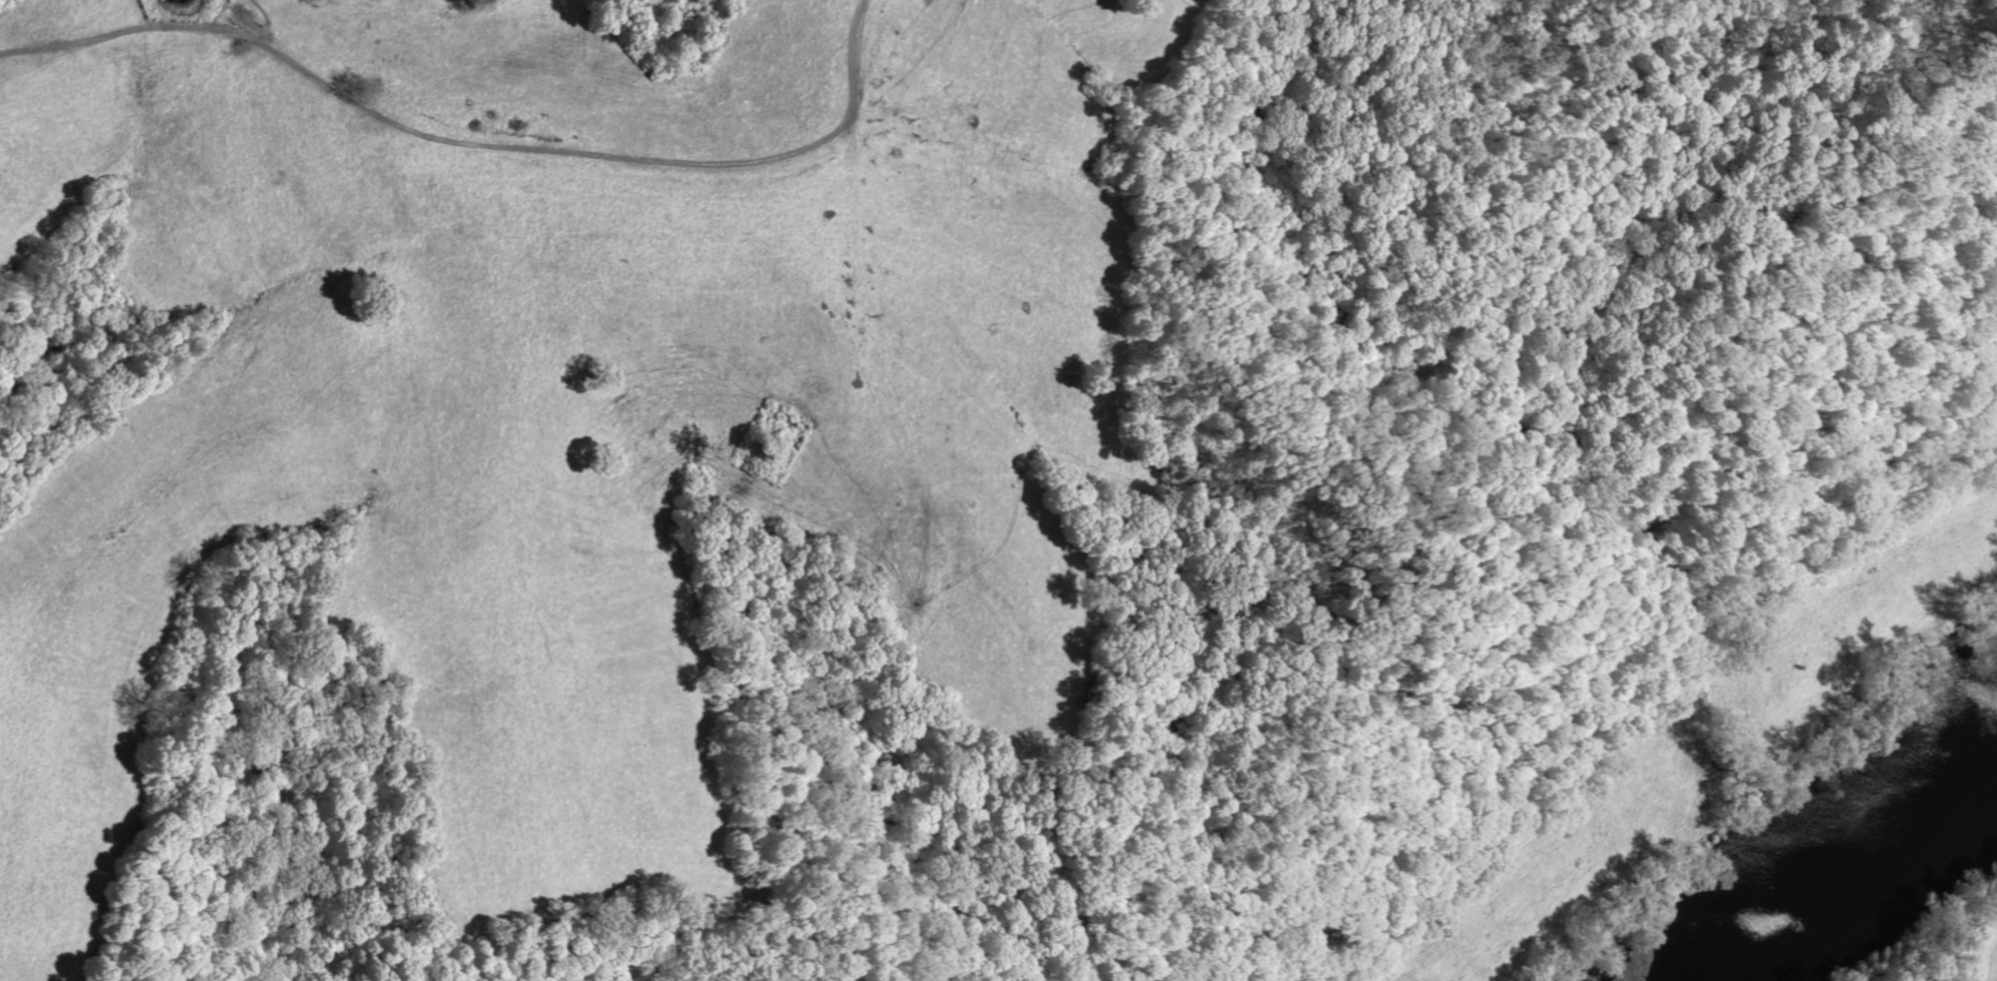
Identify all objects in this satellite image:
road: (482, 182)
river: (1839, 852)

